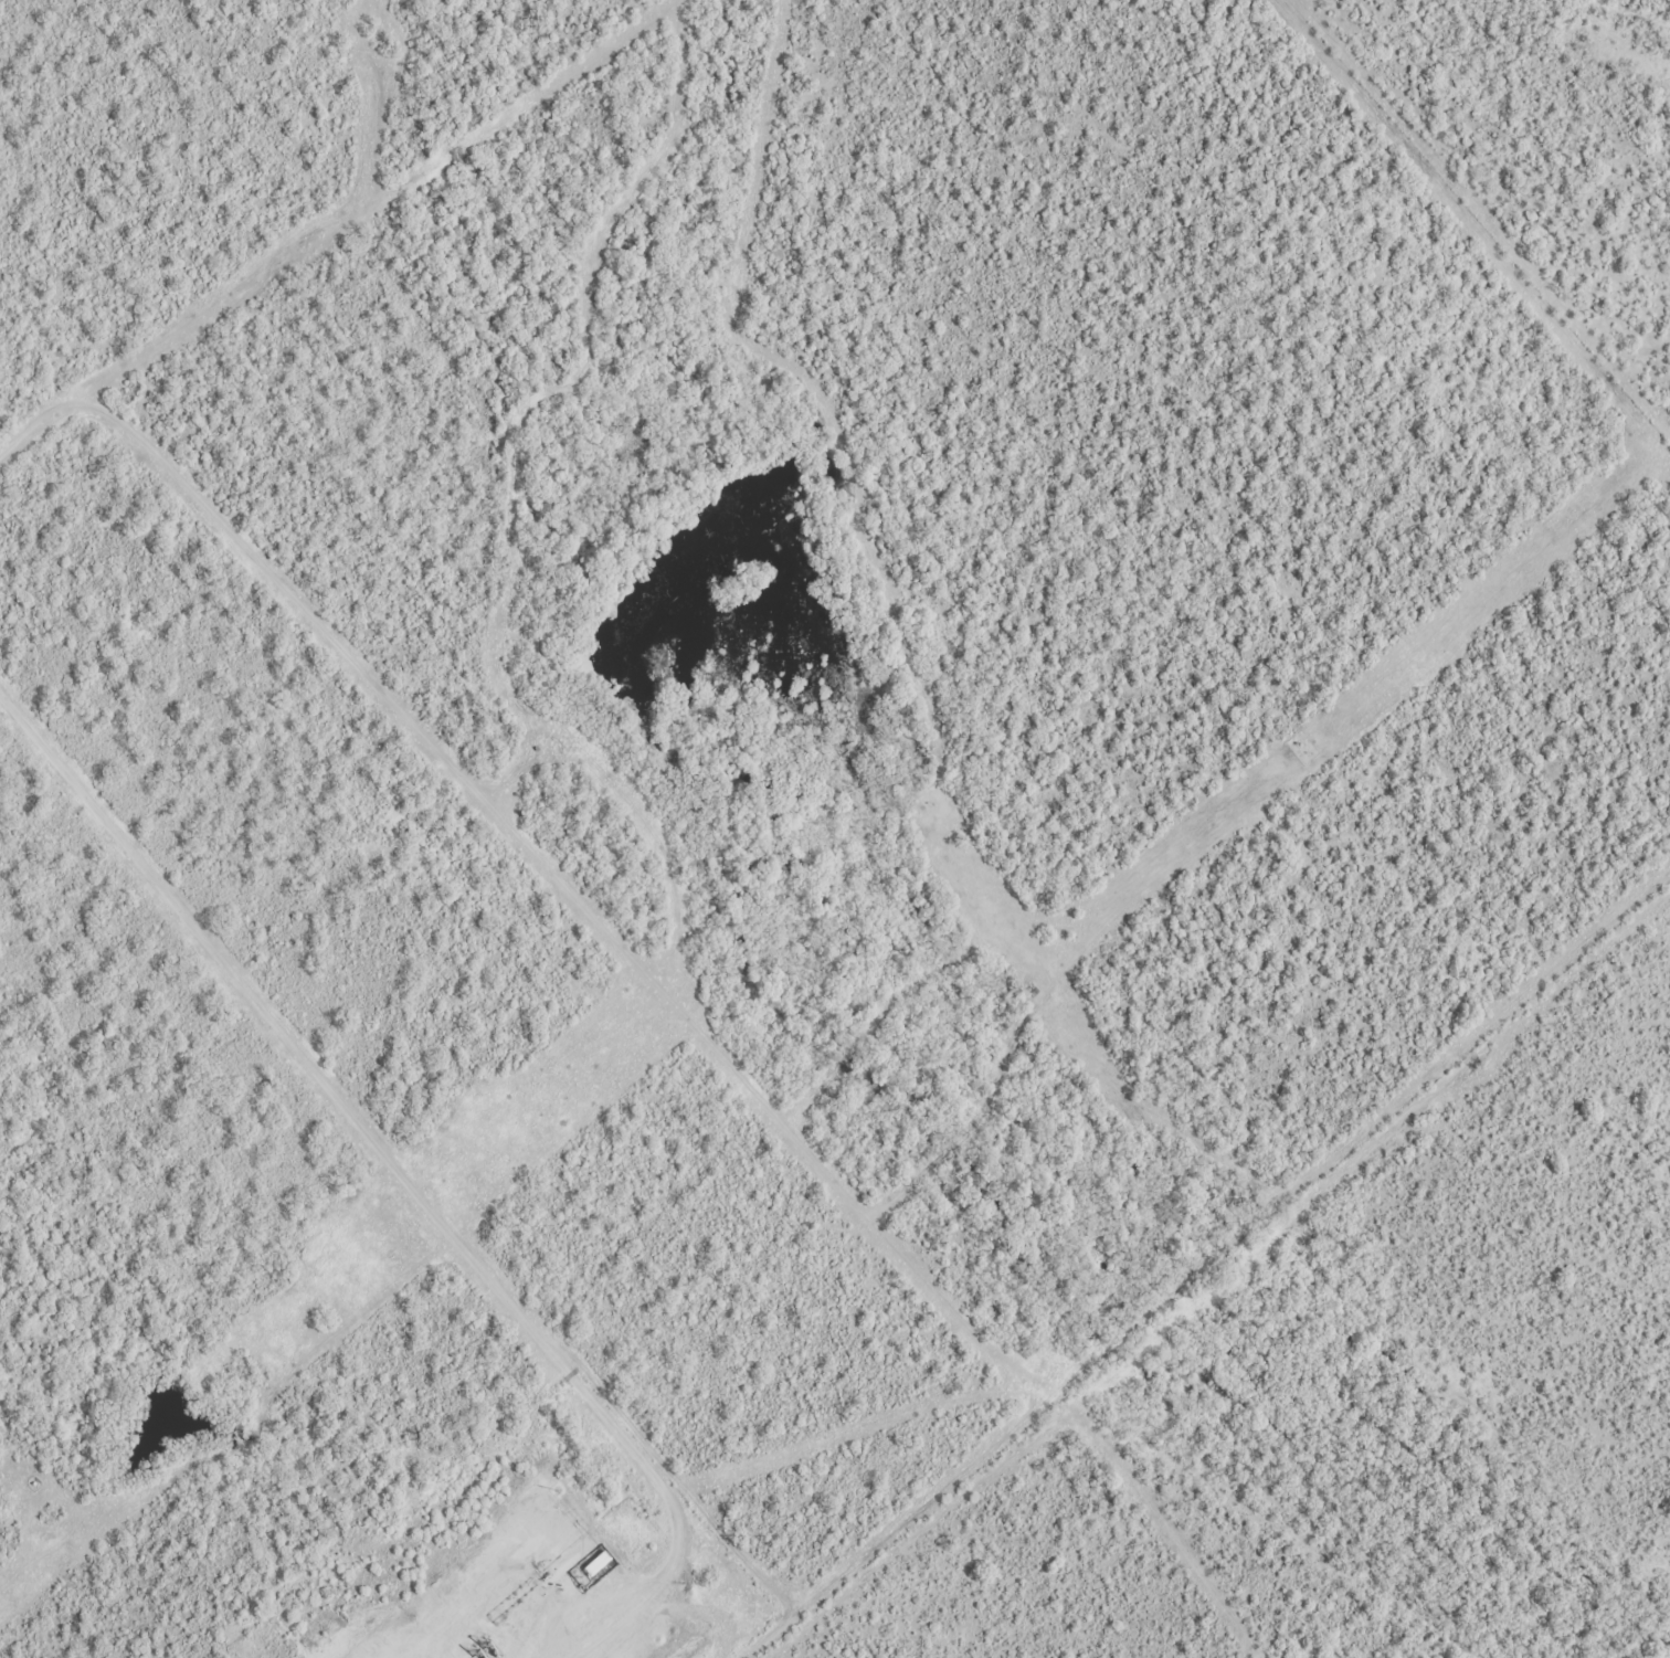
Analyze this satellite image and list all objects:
road: (382, 1129)

